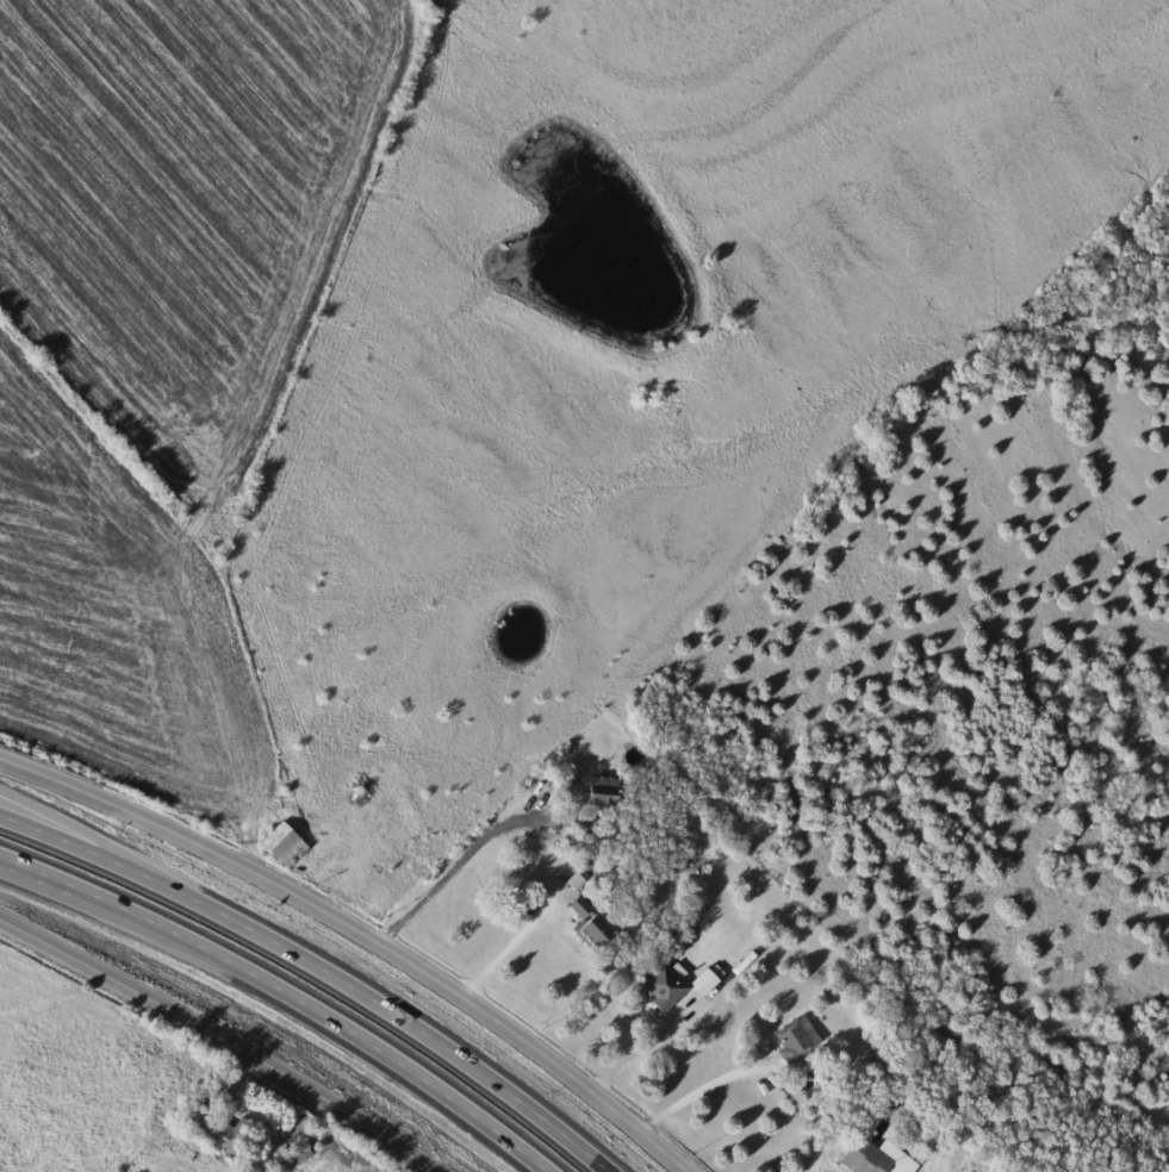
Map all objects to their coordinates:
road: (86, 827)
building: (288, 843)
road: (82, 847)
road: (466, 849)
road: (1, 858)
building: (583, 918)
road: (362, 934)
road: (505, 946)
building: (698, 980)
building: (657, 986)
road: (284, 993)
building: (844, 1010)
road: (398, 1012)
building: (791, 1036)
road: (220, 1039)
road: (703, 1091)
building: (228, 1139)
building: (870, 1158)

